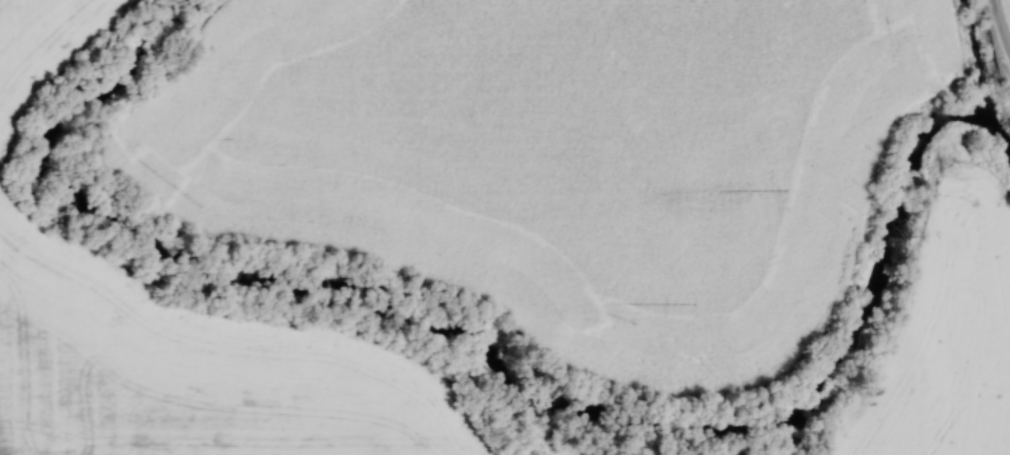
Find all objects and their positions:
river: (497, 383)

